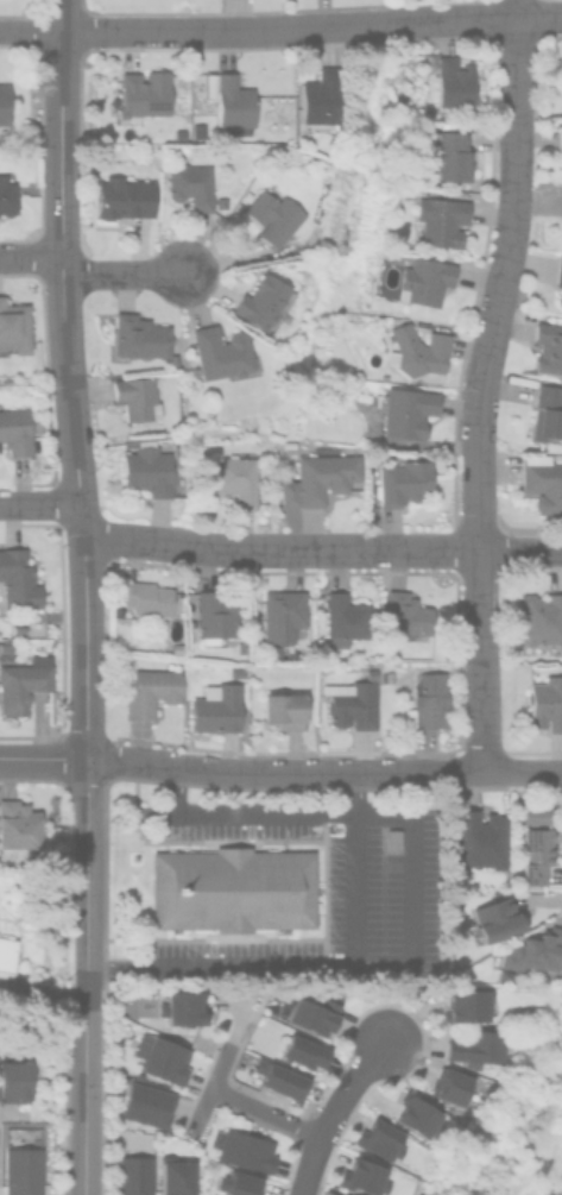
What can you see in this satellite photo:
road: (517, 8)
road: (280, 30)
road: (59, 73)
building: (453, 83)
building: (139, 95)
building: (316, 96)
building: (231, 103)
building: (2, 105)
building: (558, 134)
building: (446, 153)
building: (188, 183)
building: (448, 191)
building: (5, 195)
building: (120, 196)
building: (271, 214)
building: (438, 218)
road: (29, 256)
building: (558, 270)
road: (120, 273)
building: (413, 279)
building: (558, 297)
building: (263, 301)
building: (12, 326)
building: (133, 337)
building: (548, 345)
building: (413, 351)
building: (219, 352)
road: (479, 392)
building: (360, 395)
building: (134, 396)
building: (403, 410)
building: (545, 413)
building: (34, 424)
building: (14, 429)
road: (71, 453)
building: (146, 468)
building: (234, 474)
building: (317, 477)
building: (403, 480)
building: (543, 483)
road: (38, 503)
road: (280, 547)
road: (522, 551)
building: (15, 579)
building: (141, 599)
building: (279, 614)
building: (405, 615)
building: (214, 618)
building: (343, 618)
building: (539, 622)
building: (15, 627)
building: (5, 648)
building: (234, 669)
building: (23, 681)
building: (150, 691)
building: (428, 699)
building: (544, 700)
building: (351, 704)
building: (215, 707)
building: (283, 709)
road: (42, 759)
road: (523, 772)
road: (283, 773)
building: (533, 811)
road: (272, 815)
building: (18, 822)
building: (391, 837)
building: (478, 837)
building: (533, 851)
building: (228, 892)
road: (83, 908)
building: (494, 918)
building: (535, 950)
building: (6, 954)
road: (295, 961)
building: (465, 1002)
building: (179, 1005)
building: (307, 1012)
building: (474, 1045)
building: (301, 1050)
building: (160, 1055)
building: (277, 1077)
building: (14, 1078)
building: (447, 1084)
road: (209, 1089)
building: (146, 1101)
road: (331, 1113)
road: (263, 1114)
building: (415, 1114)
road: (83, 1127)
building: (378, 1138)
building: (244, 1150)
building: (20, 1170)
building: (132, 1174)
building: (172, 1175)
building: (361, 1175)
building: (236, 1183)
building: (336, 1194)

